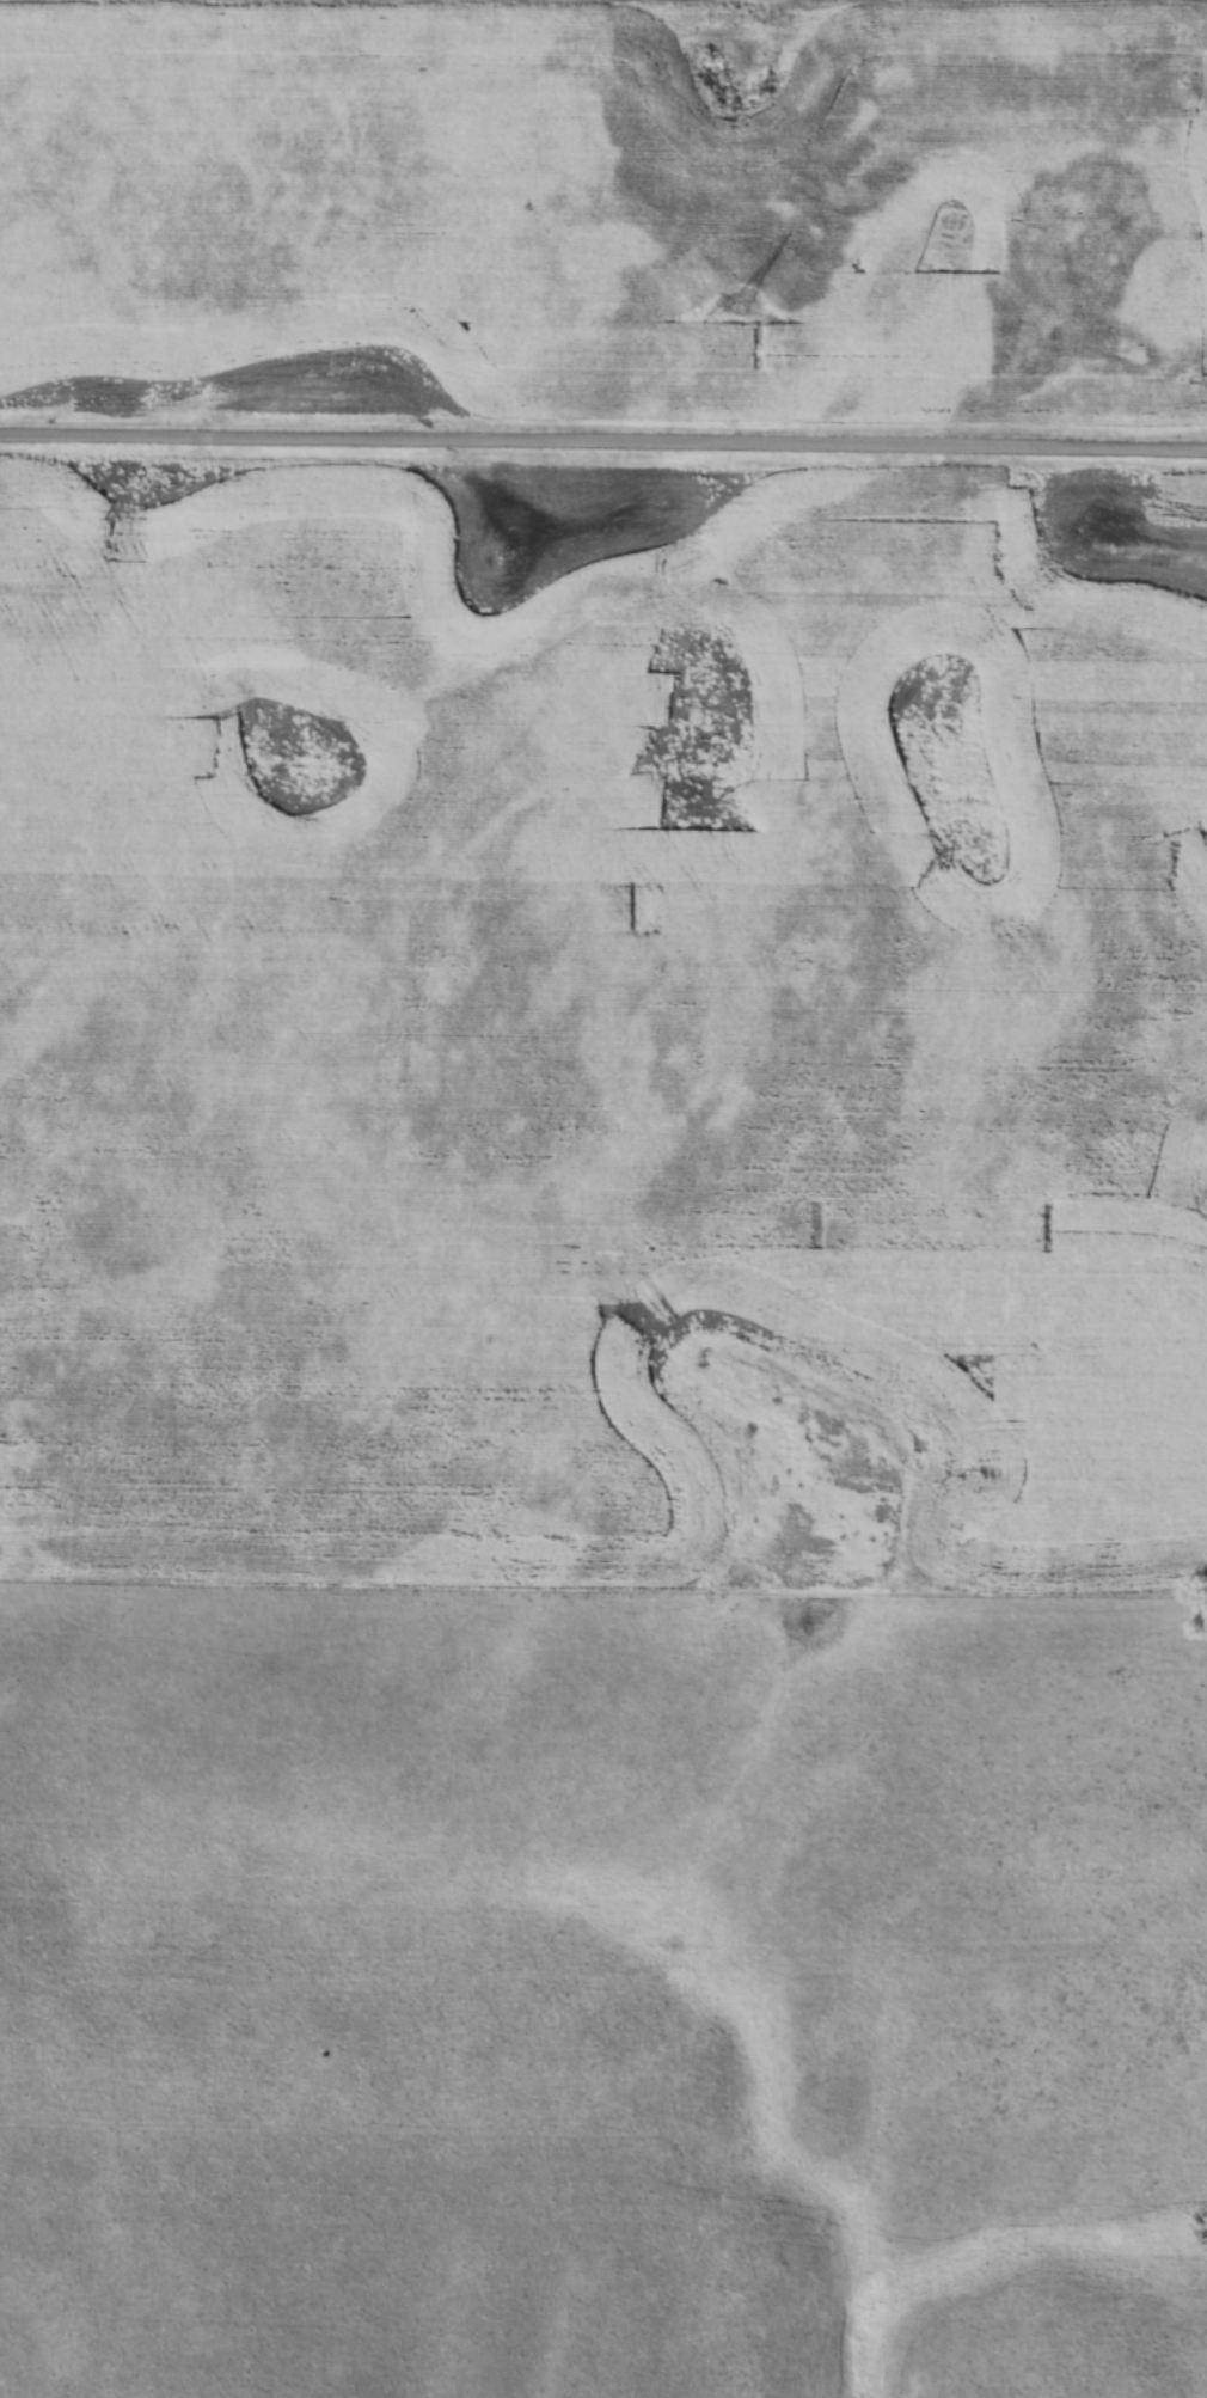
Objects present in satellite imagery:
power tower: (737, 299)
road: (603, 439)

